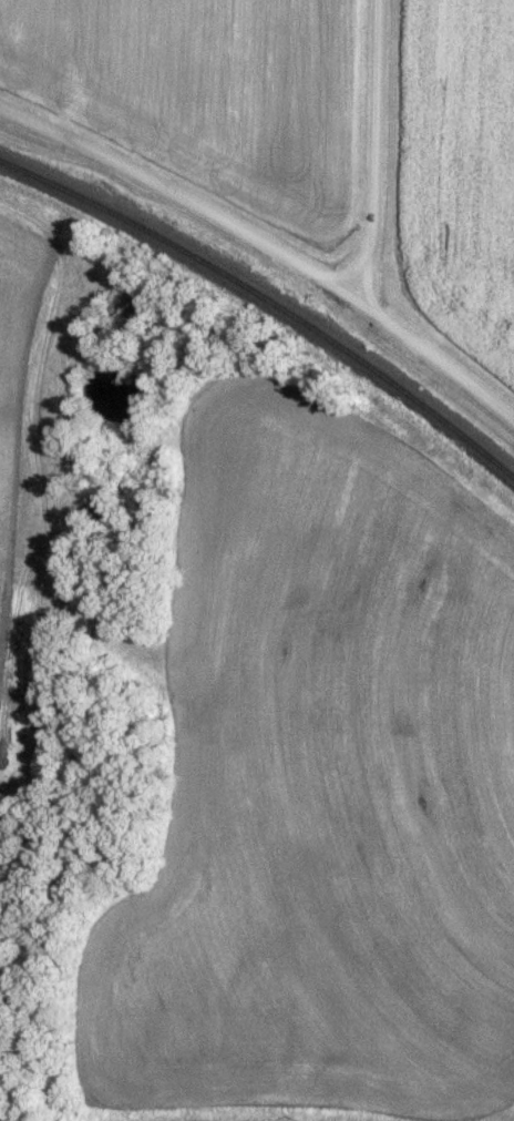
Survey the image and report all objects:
road: (376, 150)
road: (178, 193)
railway: (273, 293)
road: (433, 353)

